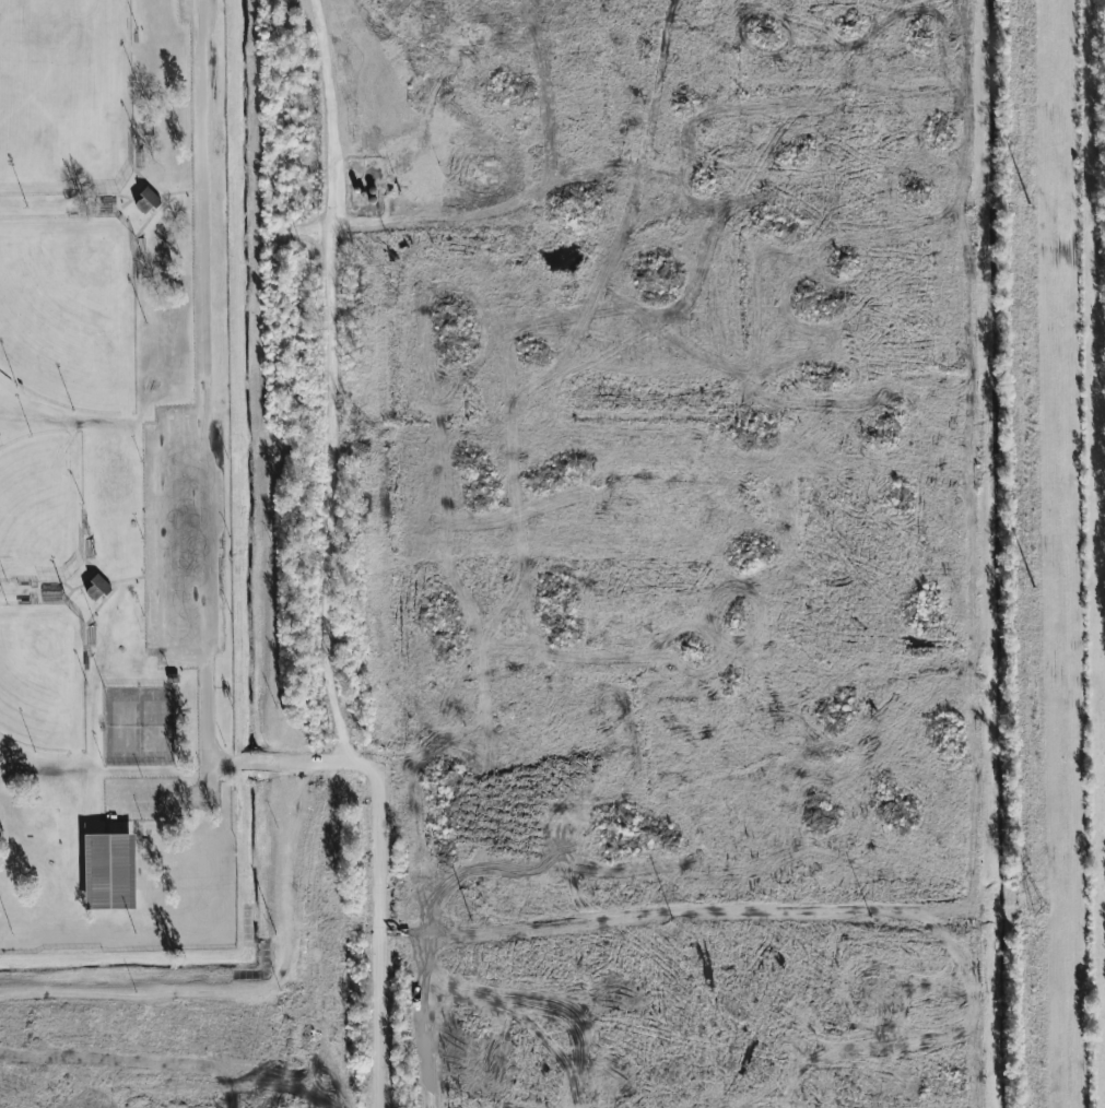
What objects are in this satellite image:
park: (63, 94)
road: (337, 113)
building: (146, 201)
power tower: (1030, 205)
road: (471, 226)
park: (64, 307)
road: (203, 447)
park: (114, 479)
park: (34, 505)
road: (164, 533)
power tower: (1034, 587)
building: (97, 588)
park: (39, 674)
road: (336, 675)
park: (122, 726)
park: (153, 726)
road: (283, 762)
building: (109, 871)
power tower: (1041, 911)

